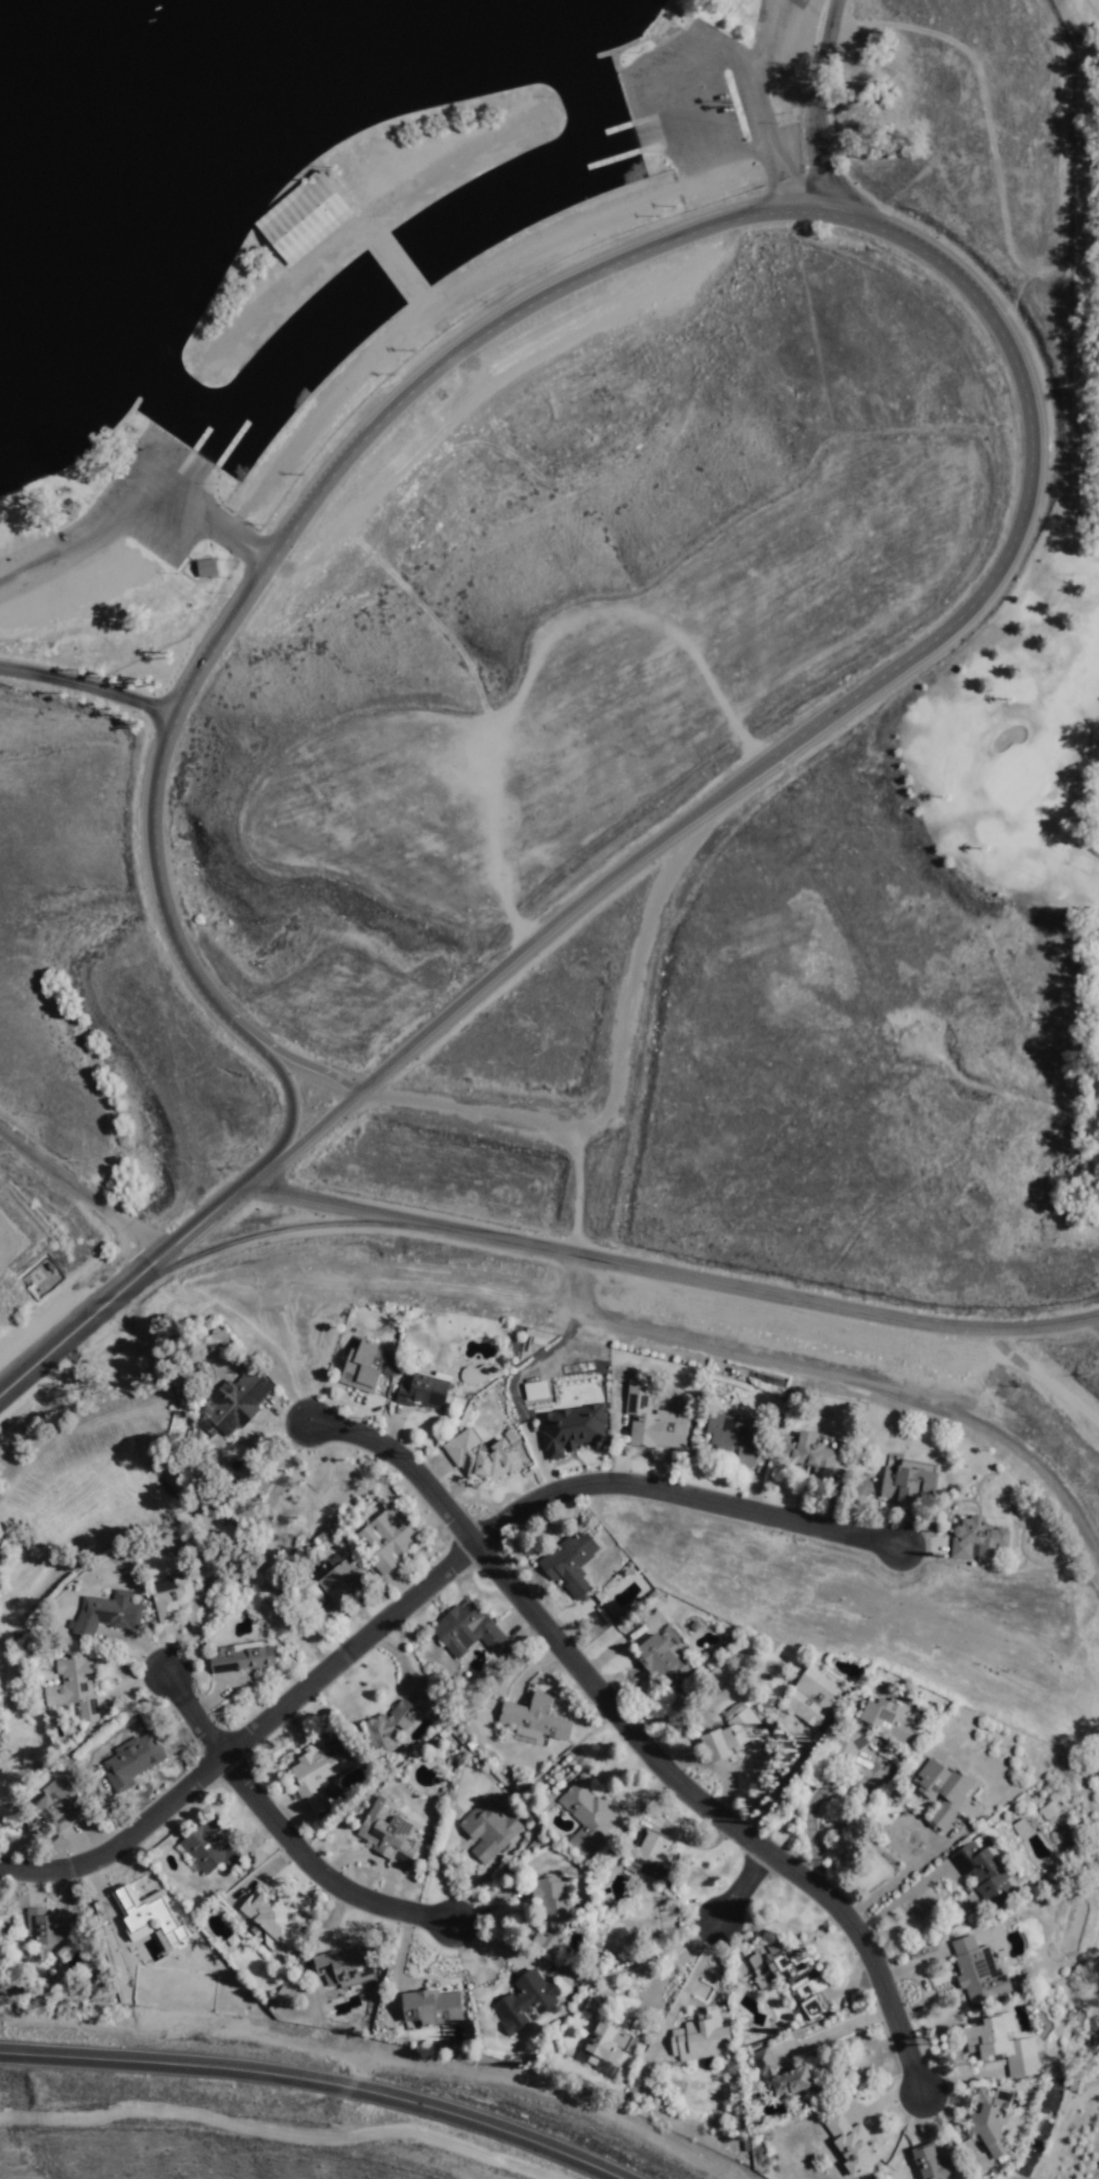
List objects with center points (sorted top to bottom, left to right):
park: (1090, 14)
parking lot: (706, 105)
road: (802, 105)
road: (820, 146)
building: (299, 220)
road: (570, 275)
parking lot: (144, 520)
building: (204, 568)
park: (564, 657)
road: (93, 662)
park: (610, 723)
road: (537, 938)
park: (1086, 963)
road: (625, 1018)
road: (276, 1081)
road: (467, 1112)
road: (310, 1128)
road: (76, 1194)
road: (296, 1228)
parking lot: (1097, 1234)
road: (669, 1269)
road: (129, 1270)
road: (575, 1283)
road: (1092, 1323)
road: (753, 1355)
building: (363, 1368)
building: (478, 1374)
road: (1035, 1377)
building: (534, 1390)
building: (422, 1393)
building: (237, 1403)
building: (650, 1423)
building: (570, 1431)
building: (736, 1439)
road: (1021, 1450)
building: (809, 1454)
building: (480, 1459)
building: (907, 1481)
building: (388, 1541)
building: (979, 1541)
building: (570, 1564)
building: (343, 1580)
road: (419, 1584)
building: (180, 1606)
building: (107, 1616)
building: (468, 1631)
building: (243, 1659)
building: (664, 1662)
building: (77, 1689)
building: (813, 1699)
building: (537, 1718)
building: (399, 1719)
building: (890, 1725)
road: (630, 1734)
building: (733, 1739)
building: (848, 1743)
building: (135, 1764)
building: (316, 1776)
road: (775, 1789)
building: (945, 1794)
building: (61, 1807)
road: (808, 1813)
building: (587, 1817)
road: (277, 1829)
building: (1022, 1830)
building: (488, 1832)
building: (388, 1834)
building: (212, 1847)
building: (656, 1859)
road: (938, 1871)
building: (991, 1877)
road: (736, 1887)
building: (149, 1917)
building: (553, 1917)
building: (273, 1919)
building: (48, 1930)
building: (233, 1943)
road: (672, 1967)
building: (346, 1969)
building: (979, 1973)
building: (805, 1985)
building: (527, 2005)
building: (435, 2014)
road: (832, 2031)
building: (703, 2039)
building: (601, 2047)
building: (1001, 2049)
building: (780, 2077)
road: (307, 2081)
building: (989, 2123)
building: (853, 2146)
building: (935, 2164)

